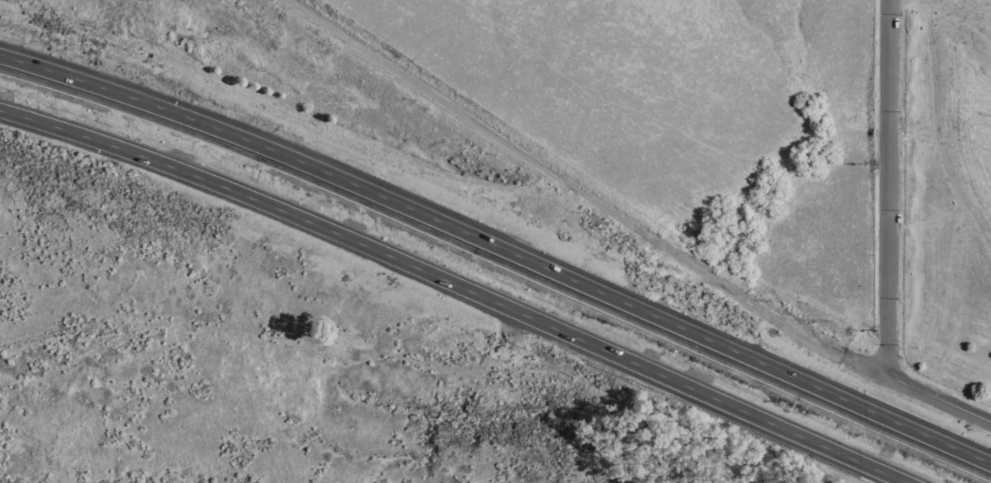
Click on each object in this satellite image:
road: (907, 5)
road: (962, 21)
road: (934, 139)
road: (560, 181)
road: (887, 190)
park: (948, 192)
road: (924, 220)
road: (900, 231)
road: (500, 250)
road: (455, 288)
road: (316, 353)
road: (916, 393)

